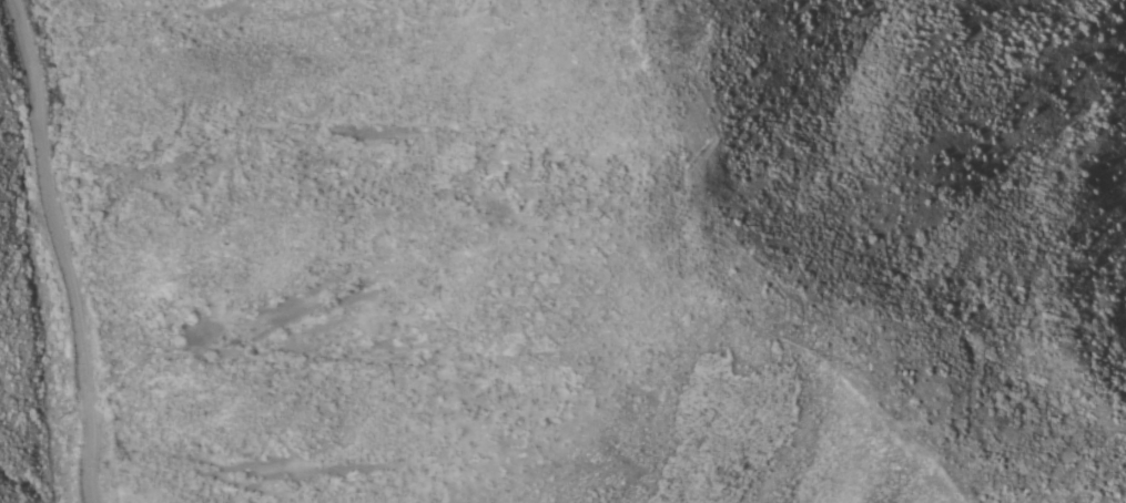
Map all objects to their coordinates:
road: (59, 250)

